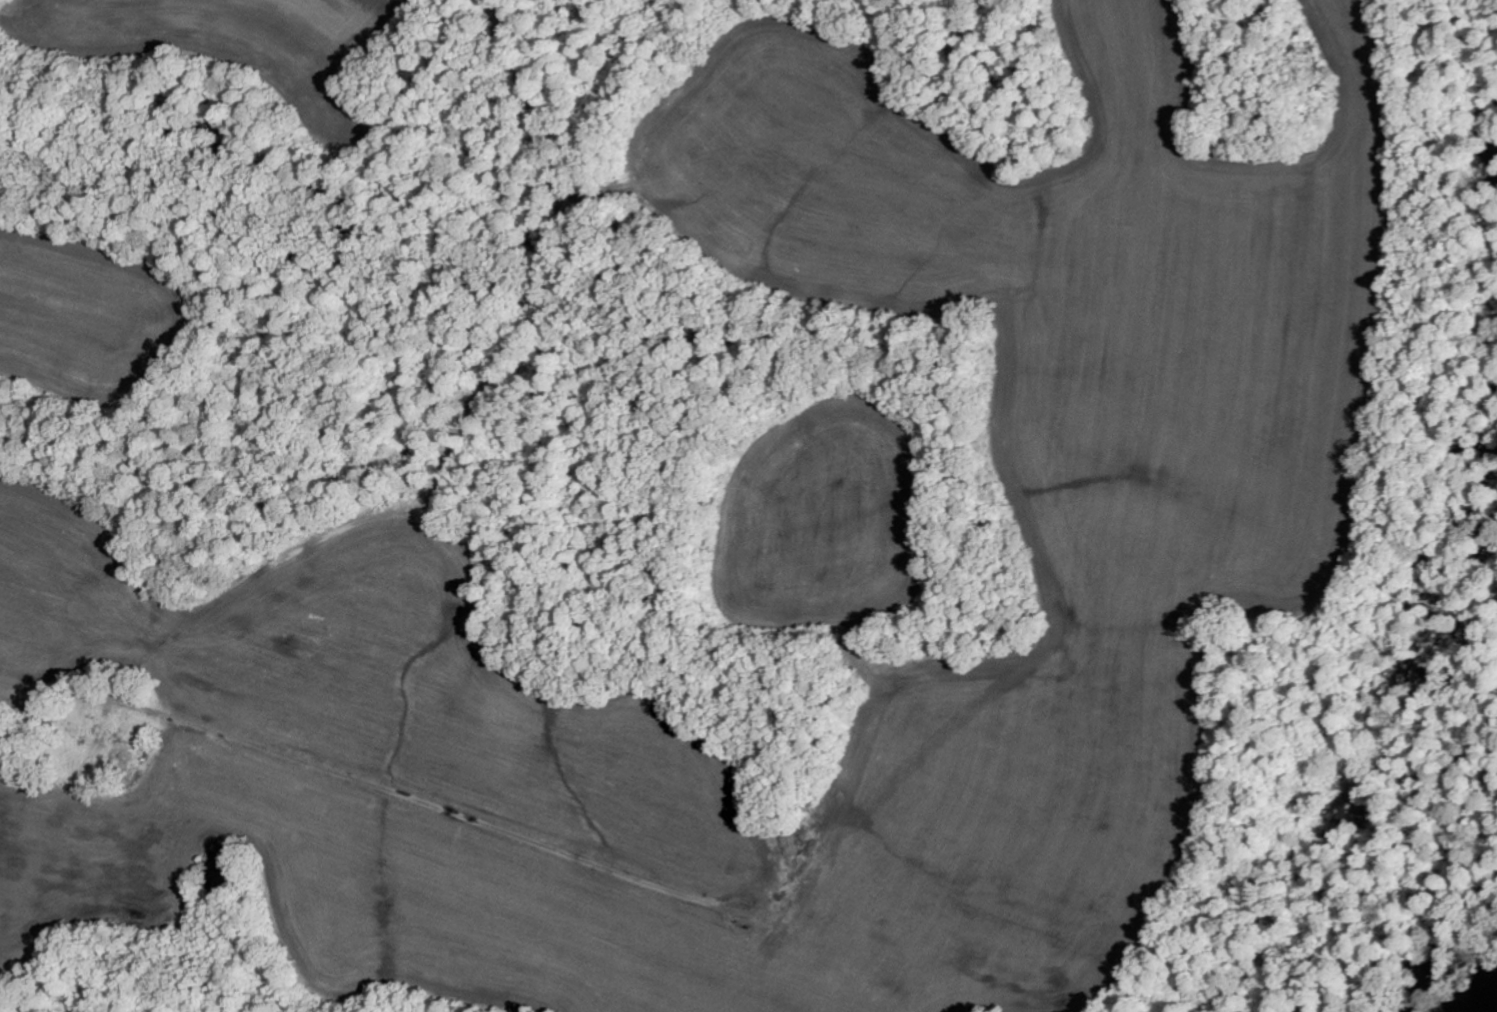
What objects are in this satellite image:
river: (1486, 1002)

